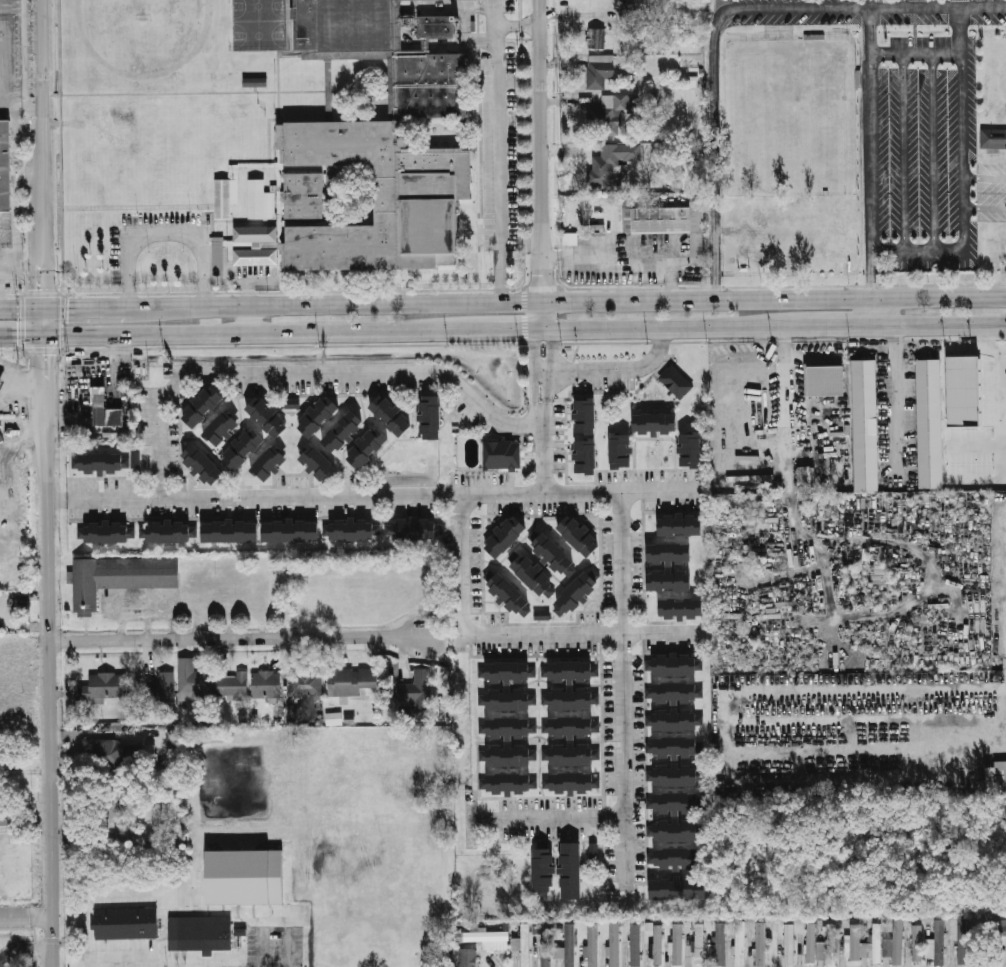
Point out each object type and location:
road: (862, 7)
building: (626, 15)
road: (518, 23)
park: (258, 24)
park: (142, 30)
building: (595, 38)
track: (205, 40)
road: (916, 53)
building: (599, 70)
building: (254, 82)
road: (43, 109)
building: (610, 113)
parking lot: (916, 119)
road: (963, 127)
road: (869, 130)
building: (993, 138)
building: (382, 148)
road: (497, 151)
road: (542, 151)
road: (903, 152)
road: (932, 152)
road: (712, 153)
building: (611, 163)
building: (5, 166)
building: (691, 175)
road: (985, 178)
building: (302, 195)
building: (225, 197)
building: (259, 201)
road: (13, 206)
building: (665, 217)
building: (597, 230)
road: (165, 236)
building: (569, 238)
building: (255, 245)
road: (916, 251)
building: (218, 255)
road: (43, 264)
road: (19, 265)
road: (869, 275)
road: (329, 278)
traffic signals: (43, 286)
road: (774, 299)
road: (522, 304)
road: (311, 306)
road: (82, 308)
traffic signals: (67, 309)
road: (21, 310)
road: (869, 312)
road: (544, 317)
road: (247, 319)
road: (44, 321)
road: (937, 326)
road: (826, 327)
road: (663, 329)
road: (294, 330)
road: (22, 333)
traffic signals: (16, 334)
road: (987, 346)
road: (535, 350)
road: (552, 350)
traffic signals: (45, 354)
road: (45, 365)
road: (620, 371)
road: (543, 372)
road: (304, 376)
building: (822, 378)
building: (676, 381)
building: (1, 383)
gas station: (1, 383)
road: (1003, 385)
road: (549, 386)
road: (535, 387)
road: (785, 388)
building: (962, 391)
road: (897, 395)
building: (291, 403)
building: (202, 406)
road: (538, 413)
road: (544, 413)
building: (392, 414)
building: (317, 415)
building: (267, 416)
building: (431, 416)
building: (108, 417)
building: (928, 422)
building: (656, 423)
building: (864, 425)
building: (221, 427)
building: (343, 431)
building: (585, 436)
building: (368, 447)
building: (242, 448)
building: (621, 450)
building: (691, 450)
building: (503, 455)
road: (544, 457)
building: (108, 462)
building: (269, 462)
building: (318, 463)
building: (203, 464)
building: (804, 478)
building: (958, 478)
road: (372, 493)
building: (681, 524)
building: (418, 528)
building: (355, 529)
building: (261, 530)
building: (172, 531)
building: (110, 532)
building: (579, 535)
building: (505, 536)
building: (670, 553)
building: (555, 555)
building: (119, 577)
building: (535, 577)
building: (671, 580)
building: (578, 592)
building: (511, 596)
building: (682, 608)
road: (510, 633)
road: (237, 639)
building: (678, 664)
building: (573, 671)
building: (510, 672)
building: (352, 681)
road: (51, 682)
building: (231, 682)
building: (304, 683)
building: (194, 684)
building: (266, 684)
building: (103, 686)
road: (620, 686)
building: (160, 688)
building: (678, 693)
building: (416, 696)
building: (573, 699)
building: (511, 700)
building: (333, 719)
building: (679, 721)
building: (512, 727)
building: (573, 727)
road: (99, 734)
building: (176, 740)
building: (677, 748)
building: (109, 750)
building: (512, 755)
building: (575, 755)
building: (1, 760)
building: (148, 761)
building: (676, 775)
building: (997, 779)
building: (512, 783)
building: (575, 783)
building: (676, 804)
building: (106, 814)
road: (546, 817)
building: (4, 820)
building: (677, 830)
building: (594, 851)
building: (676, 858)
building: (572, 871)
building: (544, 874)
building: (243, 876)
building: (678, 889)
road: (27, 911)
building: (125, 921)
building: (1002, 927)
building: (204, 933)
building: (1003, 935)
building: (487, 936)
building: (937, 941)
building: (853, 942)
building: (699, 943)
building: (790, 943)
building: (810, 943)
building: (895, 943)
building: (917, 943)
building: (959, 943)
building: (546, 944)
building: (657, 944)
building: (678, 944)
building: (720, 944)
building: (740, 944)
building: (761, 944)
building: (873, 944)
building: (525, 945)
building: (592, 945)
building: (614, 945)
building: (829, 945)
building: (636, 946)
building: (568, 947)
road: (26, 949)
building: (469, 958)

